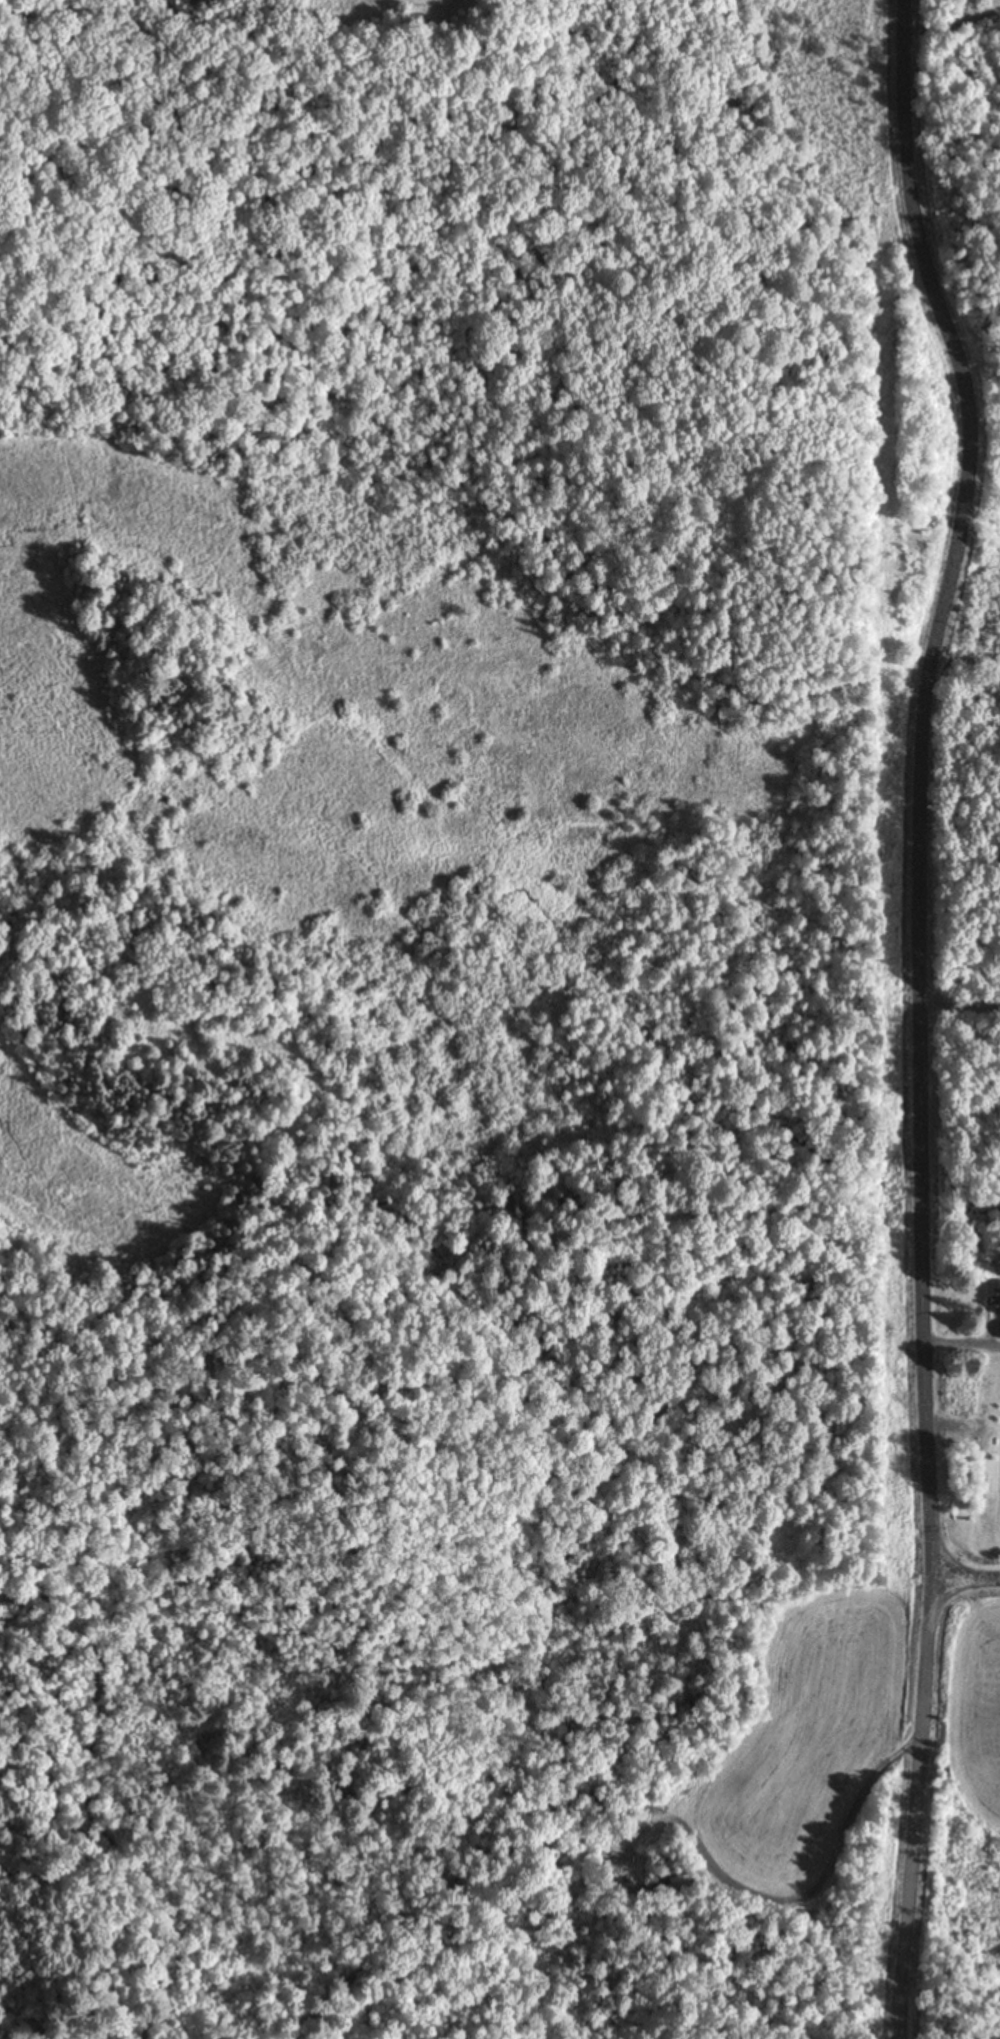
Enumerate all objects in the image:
road: (927, 775)
building: (995, 1297)
road: (961, 1571)
road: (914, 1805)

